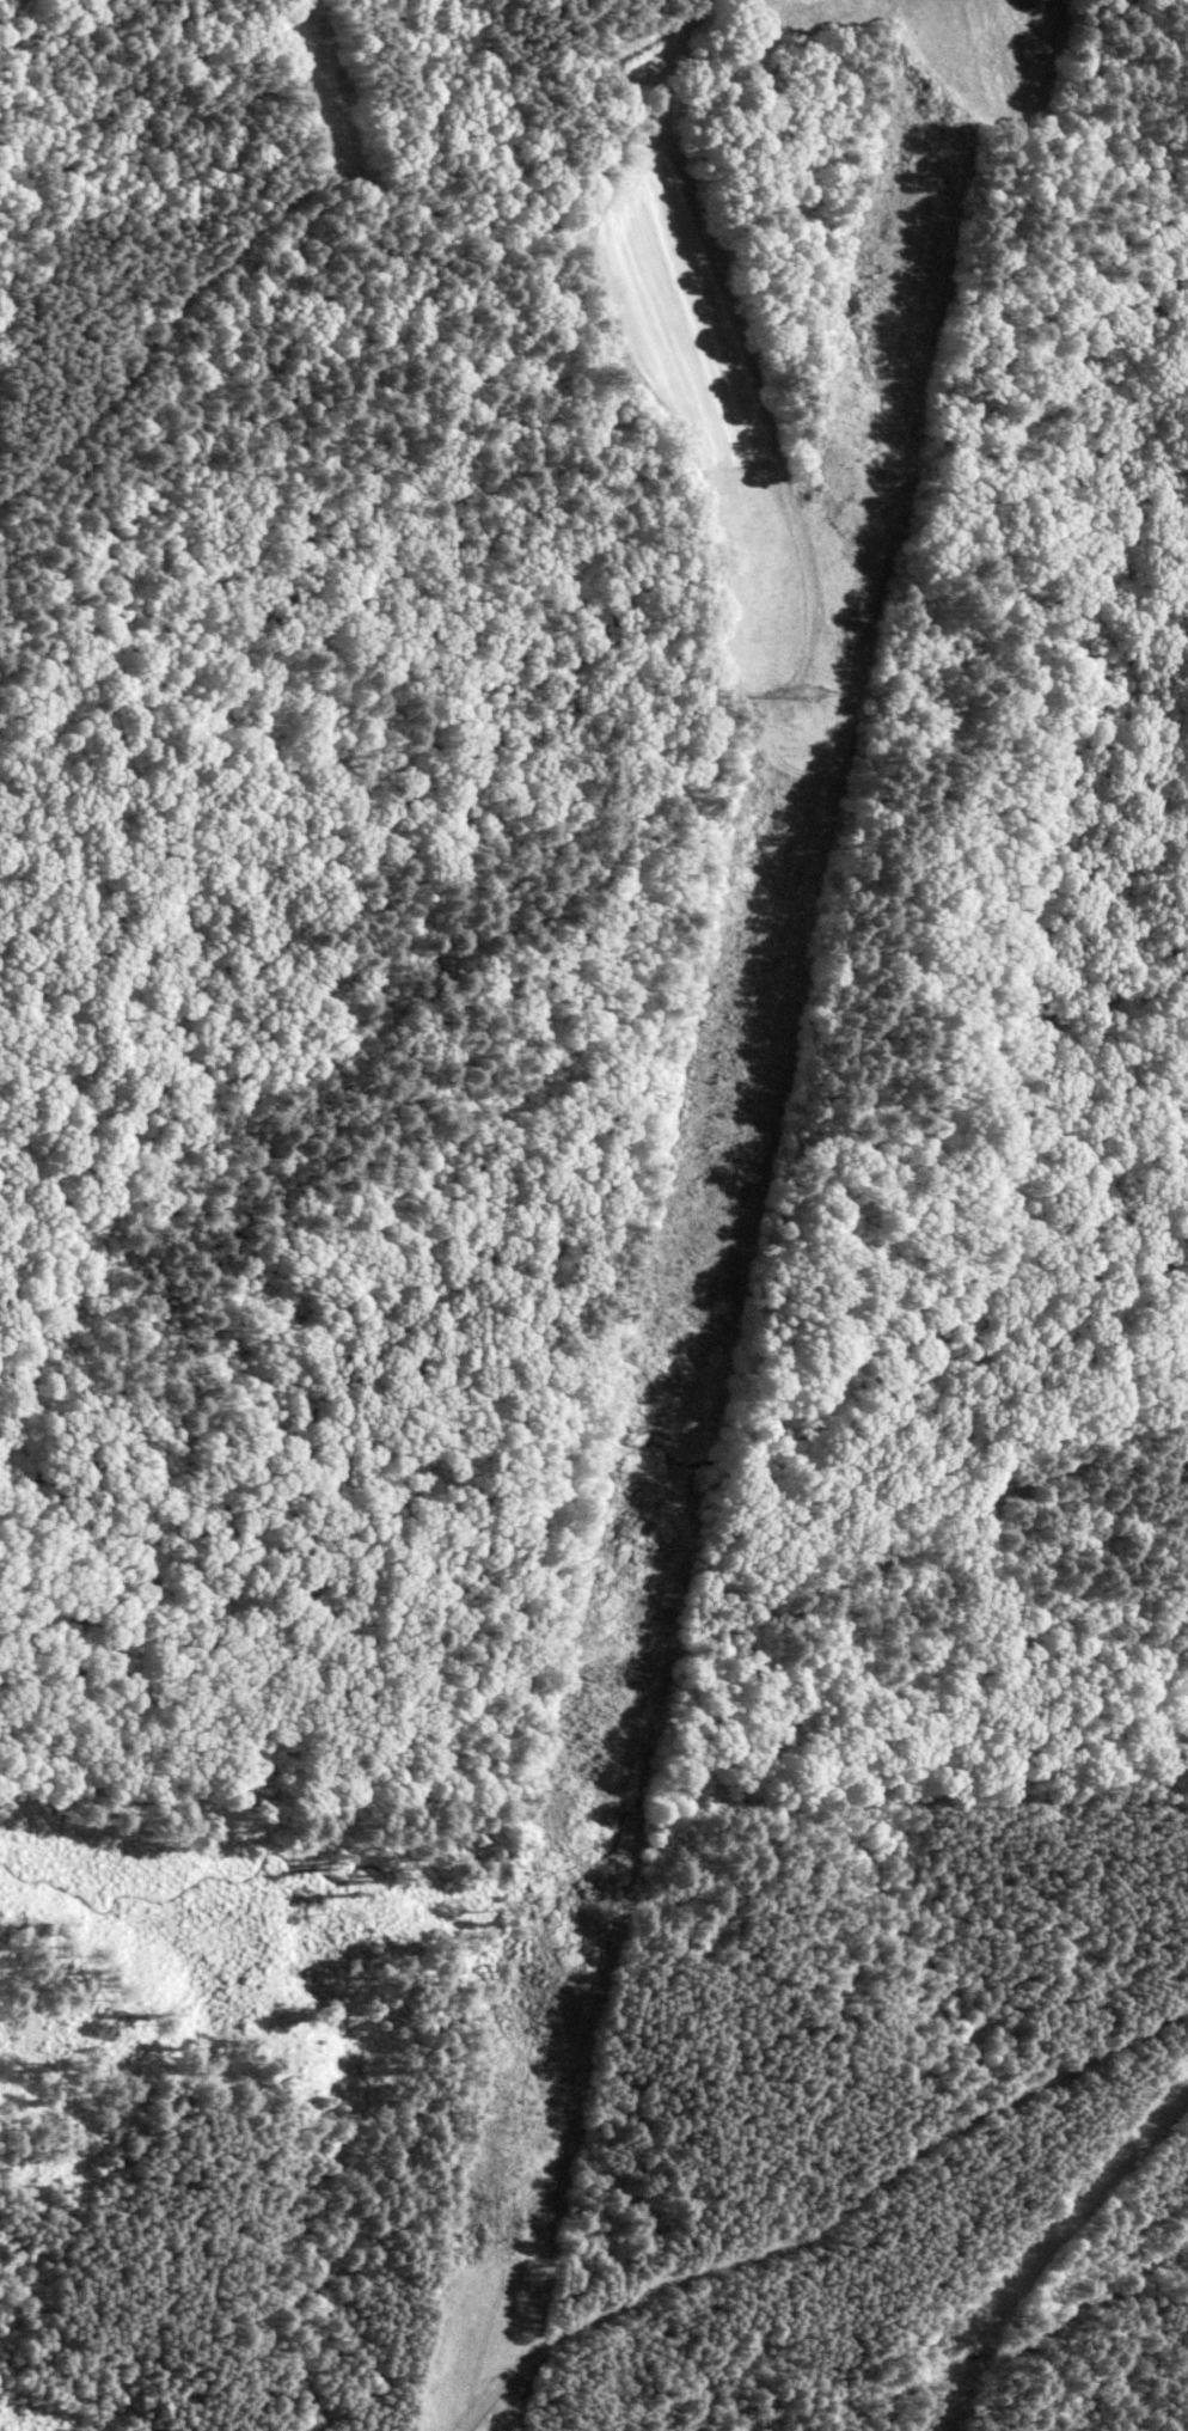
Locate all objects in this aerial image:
power tower: (809, 689)
power tower: (614, 1674)

